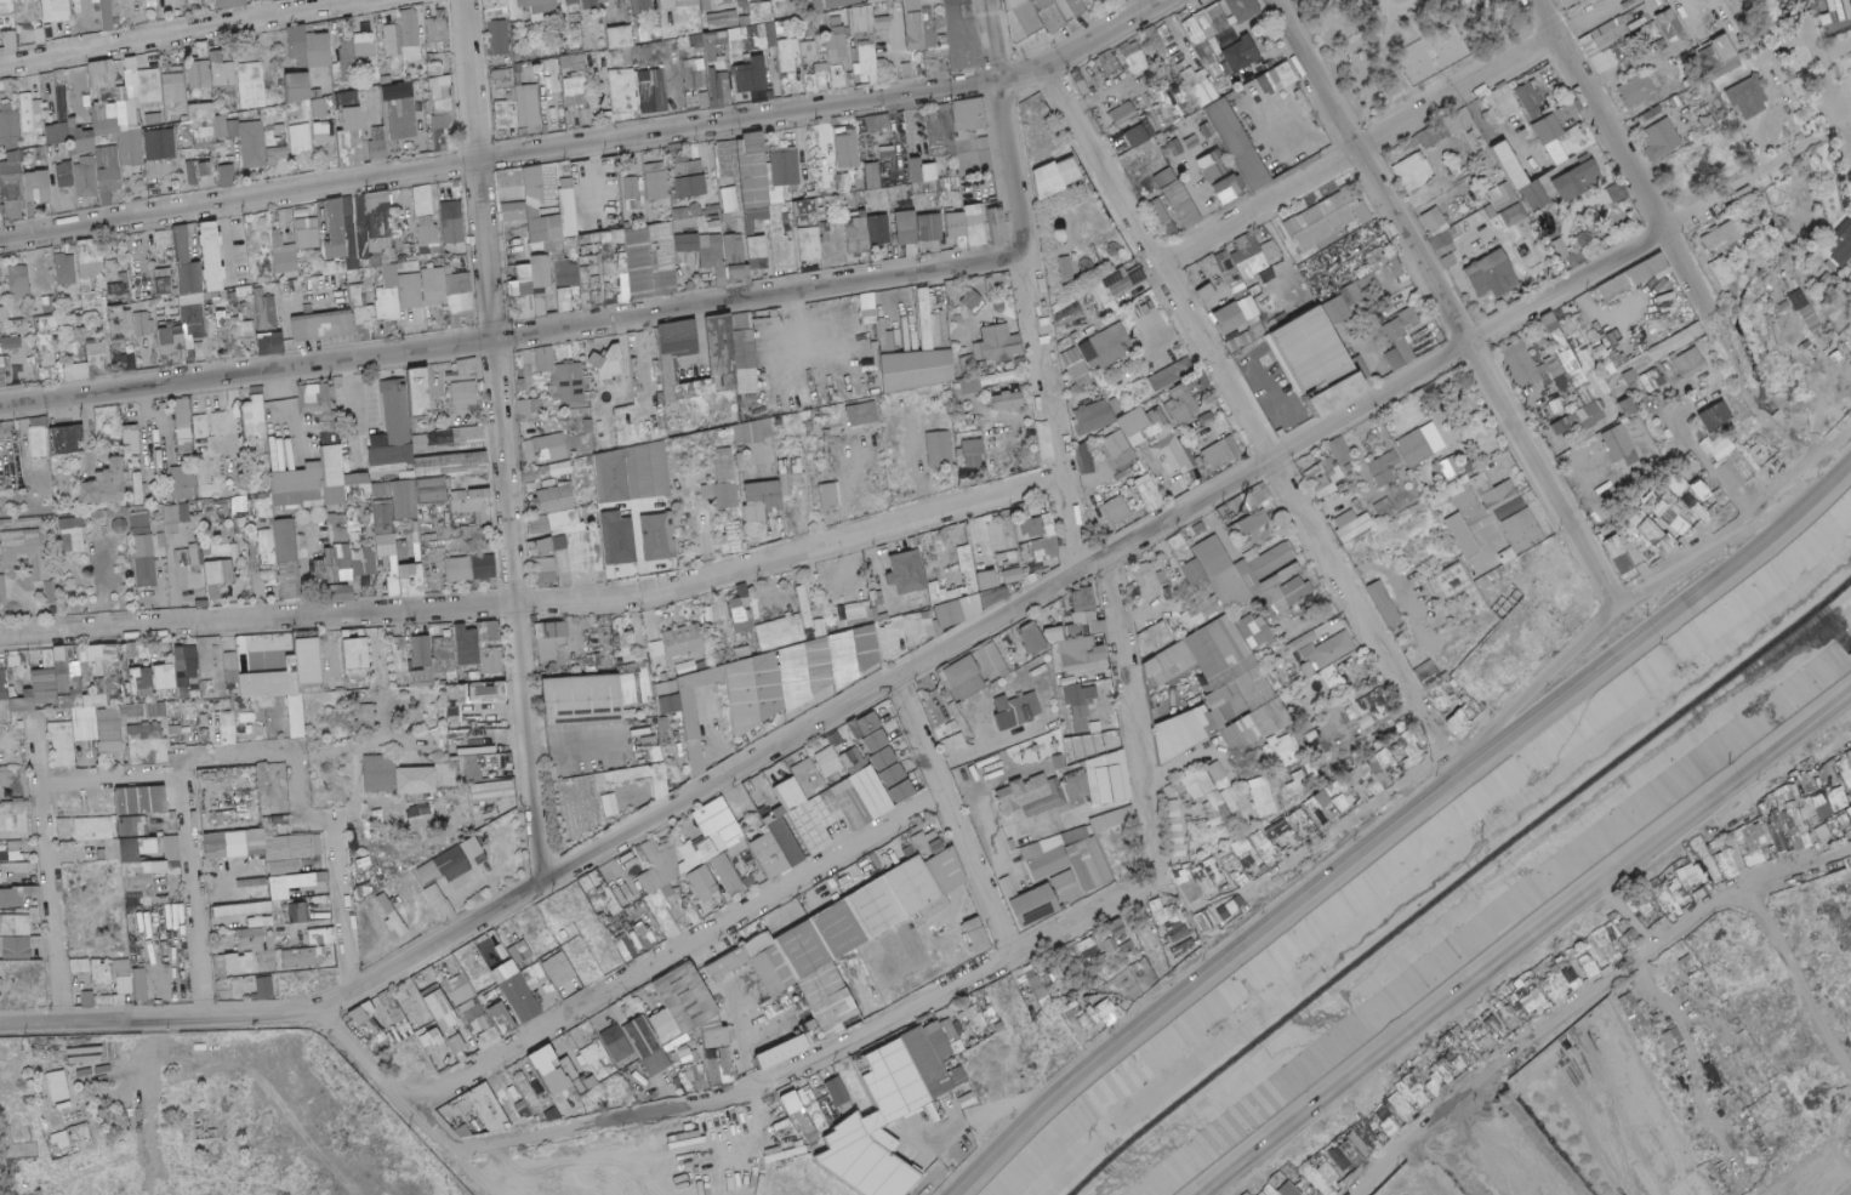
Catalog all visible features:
park: (1400, 44)

